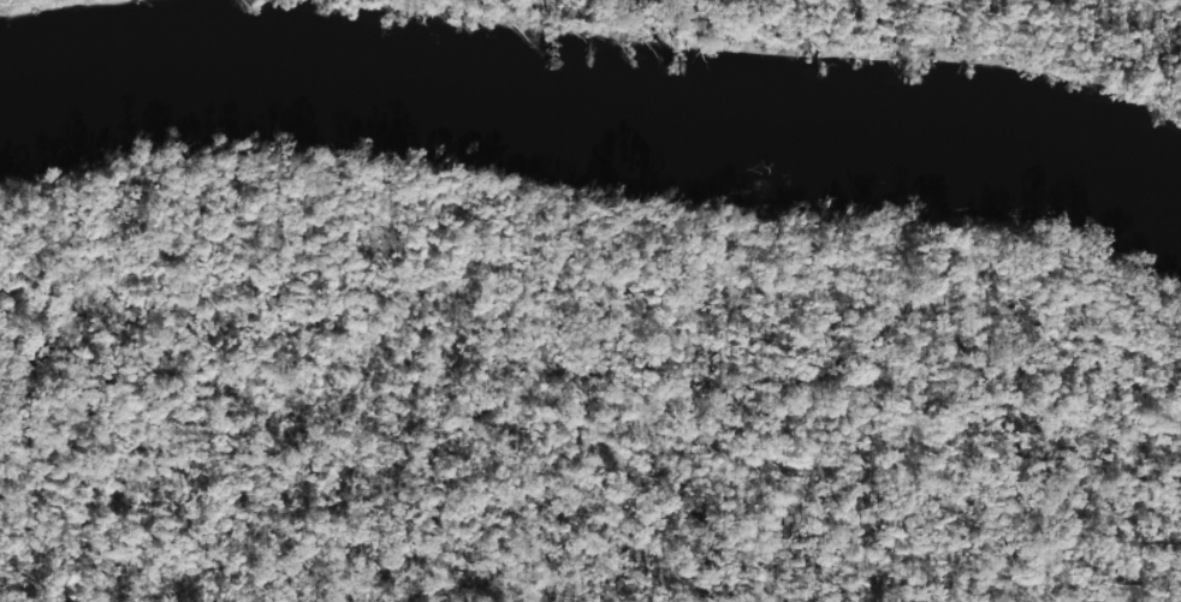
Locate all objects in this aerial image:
river: (593, 117)

